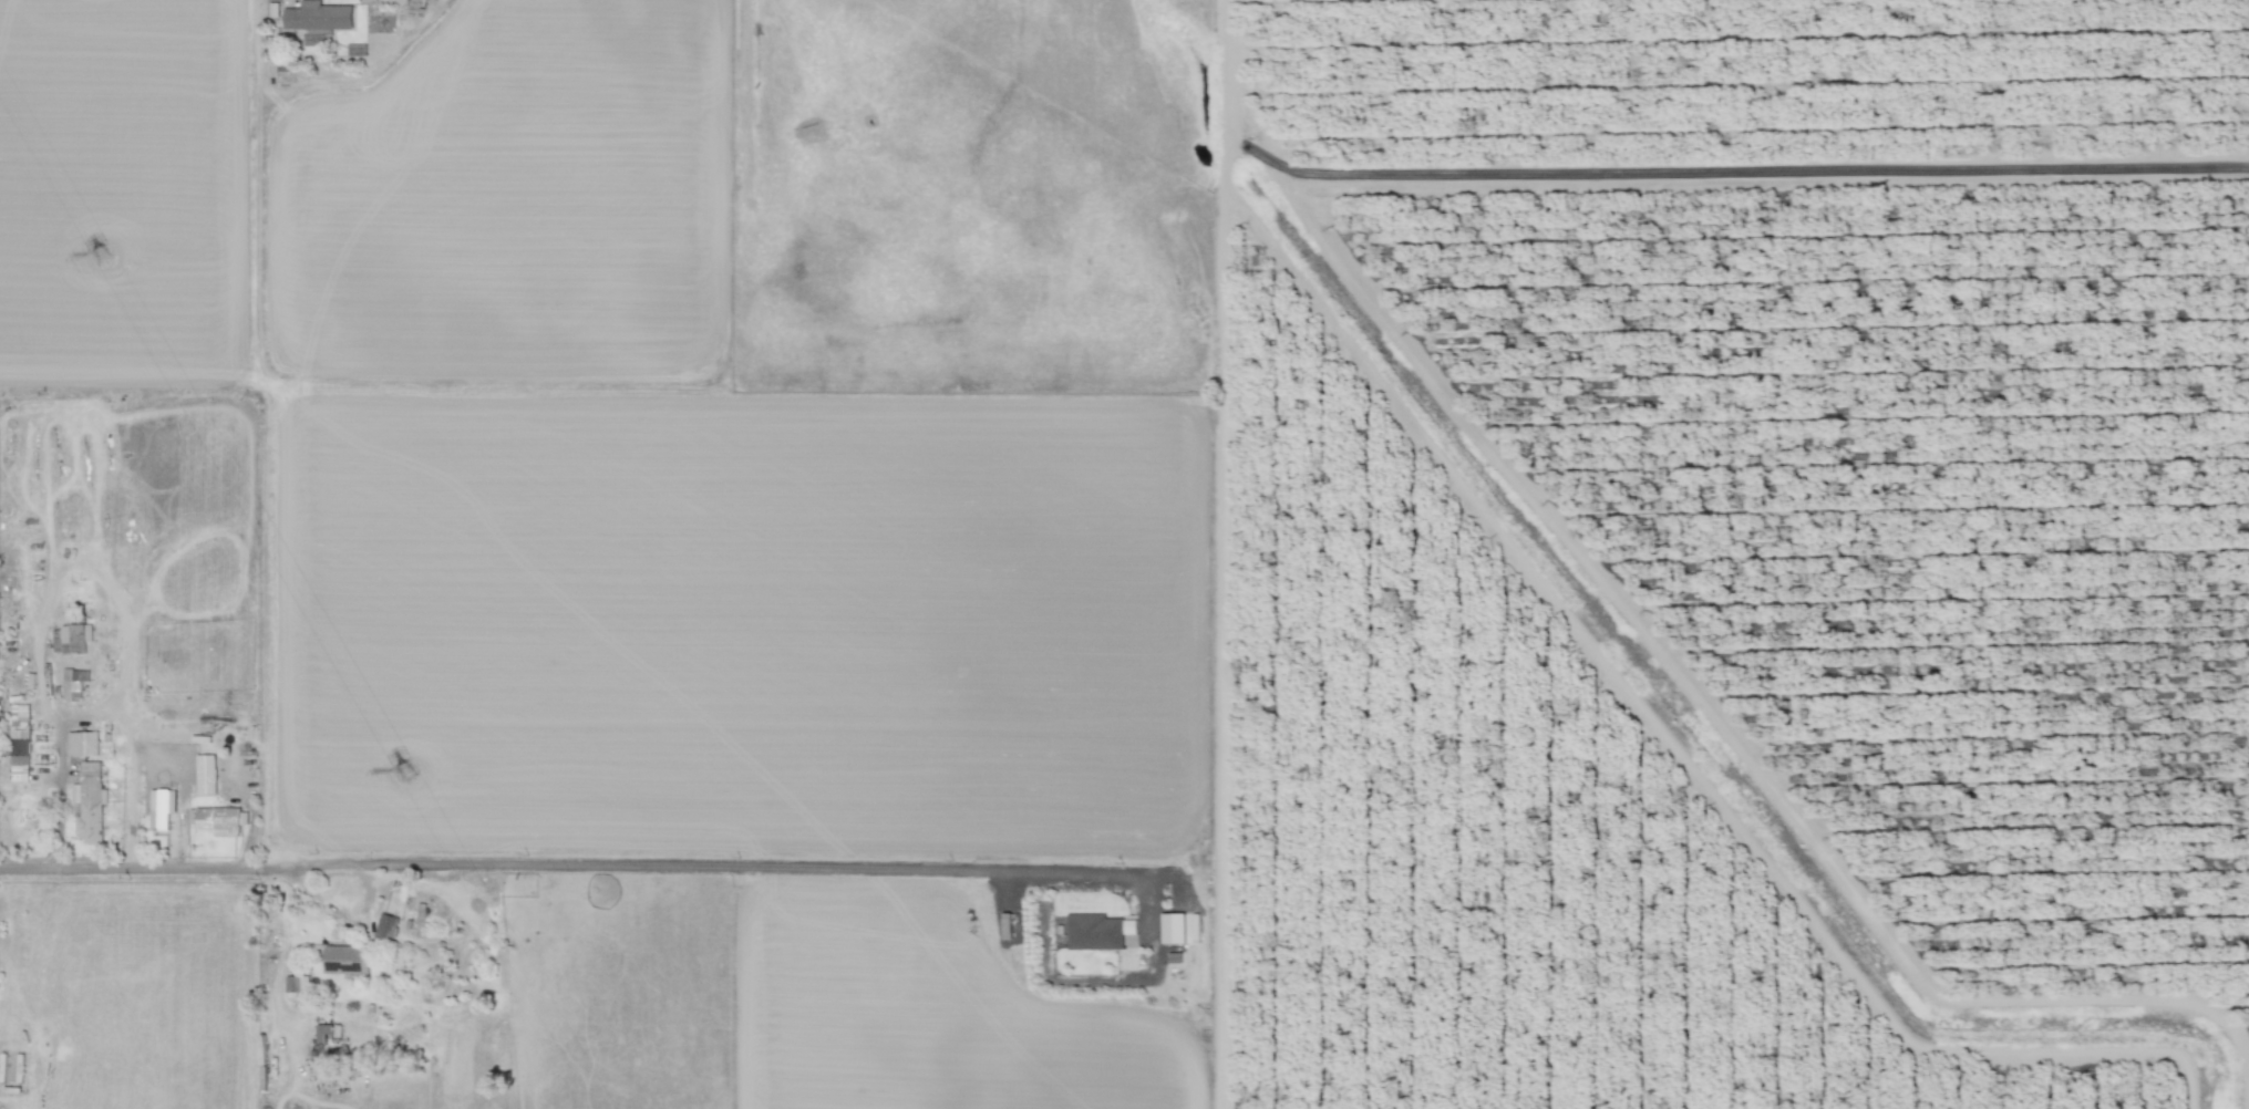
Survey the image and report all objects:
building: (318, 15)
power tower: (99, 250)
building: (71, 639)
building: (73, 682)
road: (91, 708)
building: (19, 734)
building: (83, 744)
building: (205, 774)
power tower: (405, 774)
building: (89, 802)
building: (162, 807)
building: (220, 820)
road: (131, 868)
road: (846, 870)
building: (385, 927)
building: (1173, 927)
building: (1094, 932)
building: (345, 958)
building: (297, 985)

